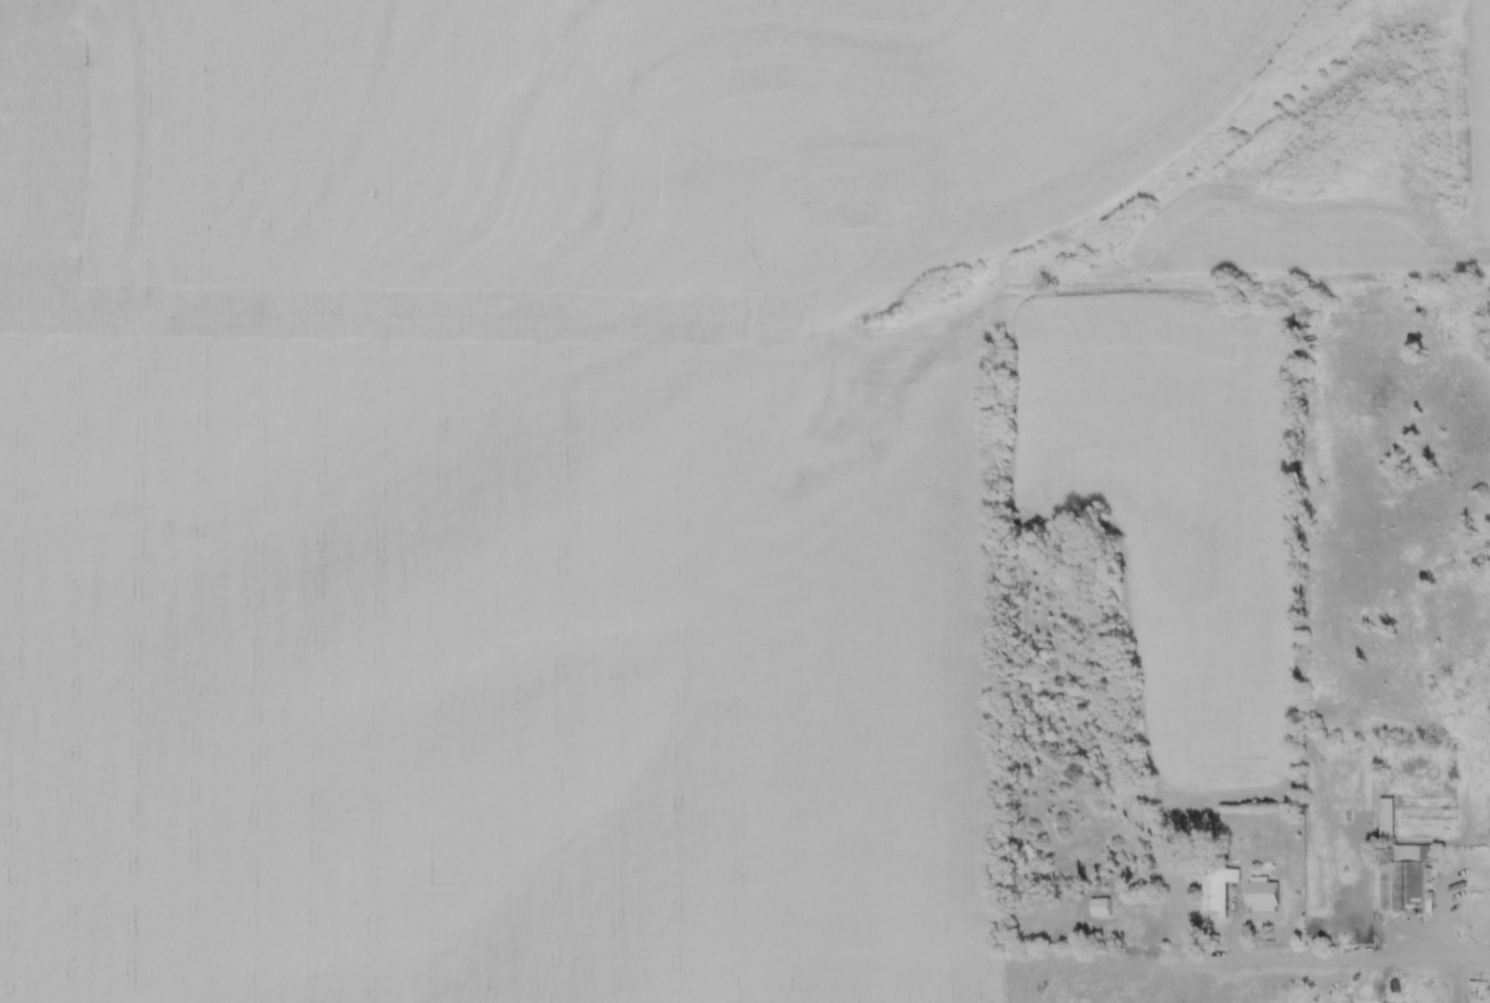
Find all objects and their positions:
building: (1385, 817)
building: (1402, 878)
building: (1216, 888)
building: (1261, 894)
building: (1098, 906)
road: (1365, 959)

